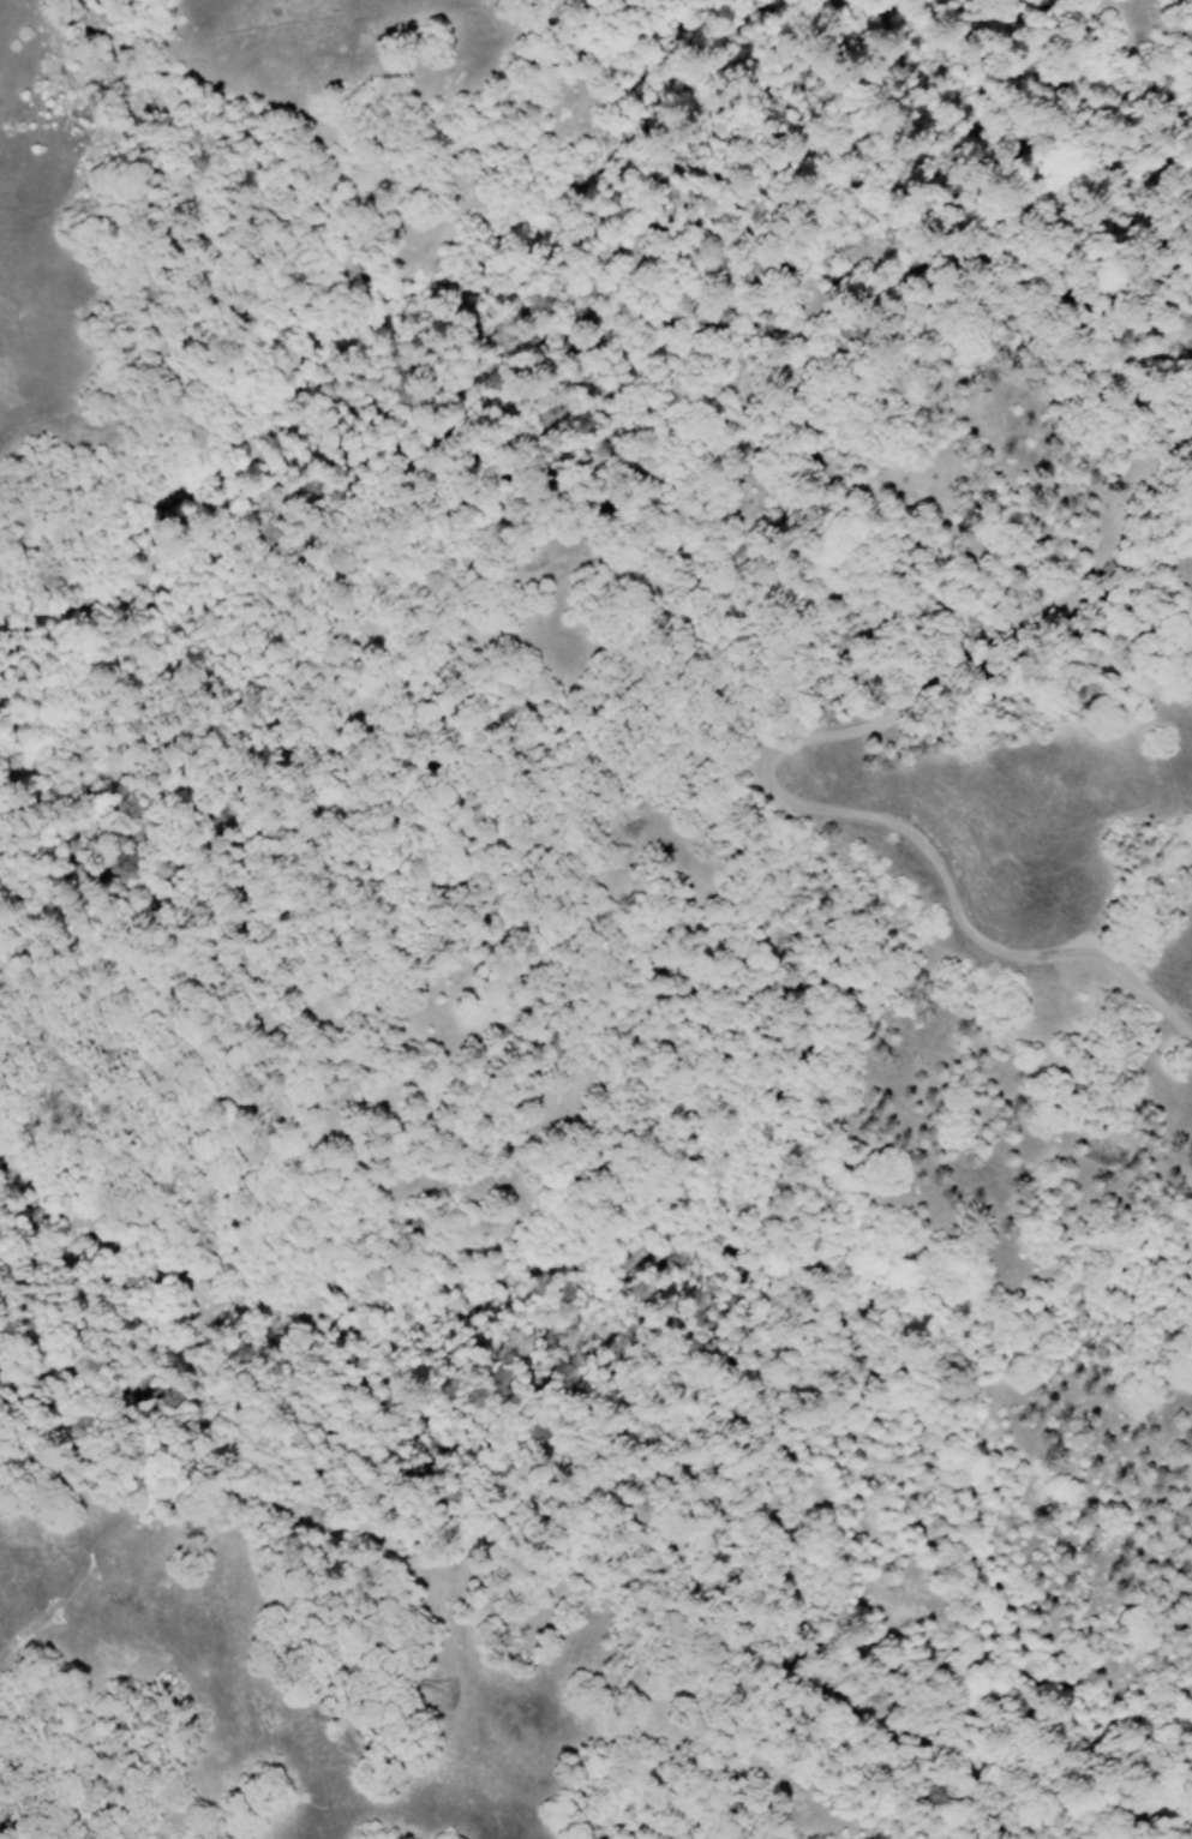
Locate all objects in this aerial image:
road: (773, 762)
road: (179, 1504)

